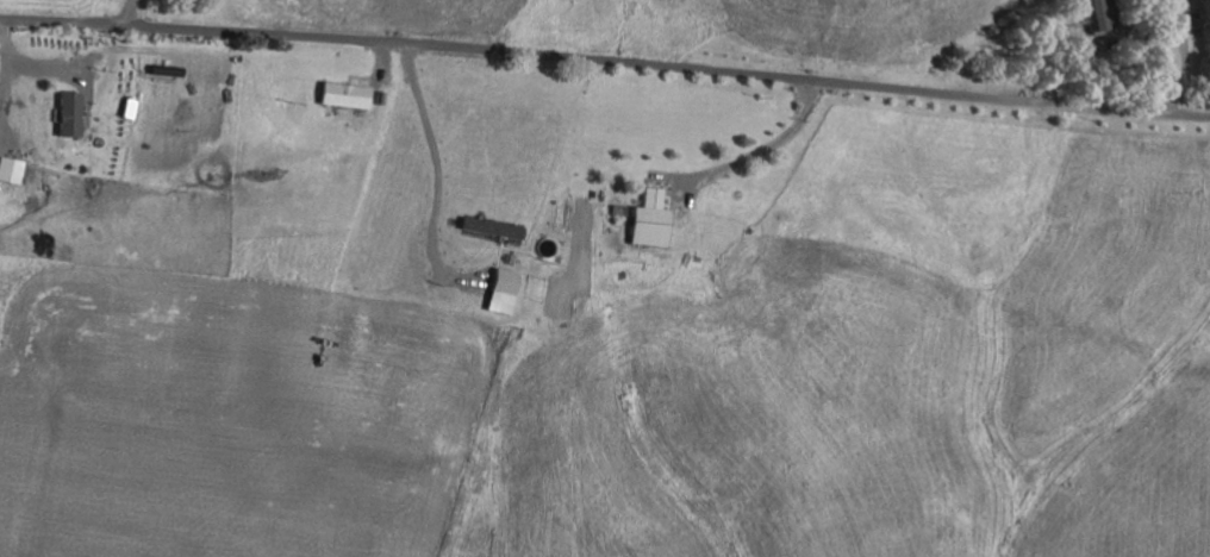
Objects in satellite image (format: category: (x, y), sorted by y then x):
building: (1103, 12)
road: (605, 60)
building: (347, 94)
building: (73, 113)
building: (11, 169)
building: (649, 219)
building: (492, 227)
building: (501, 290)

